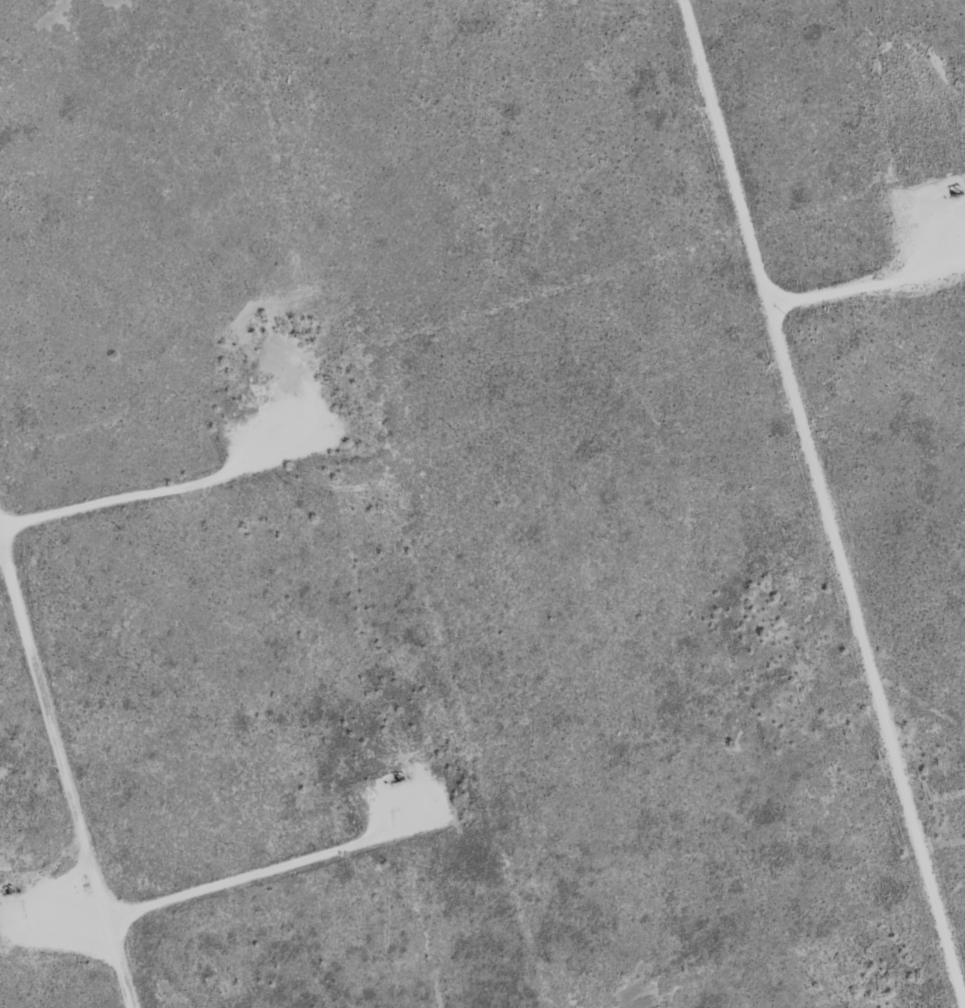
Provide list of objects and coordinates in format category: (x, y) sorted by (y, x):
road: (823, 504)
road: (64, 778)

